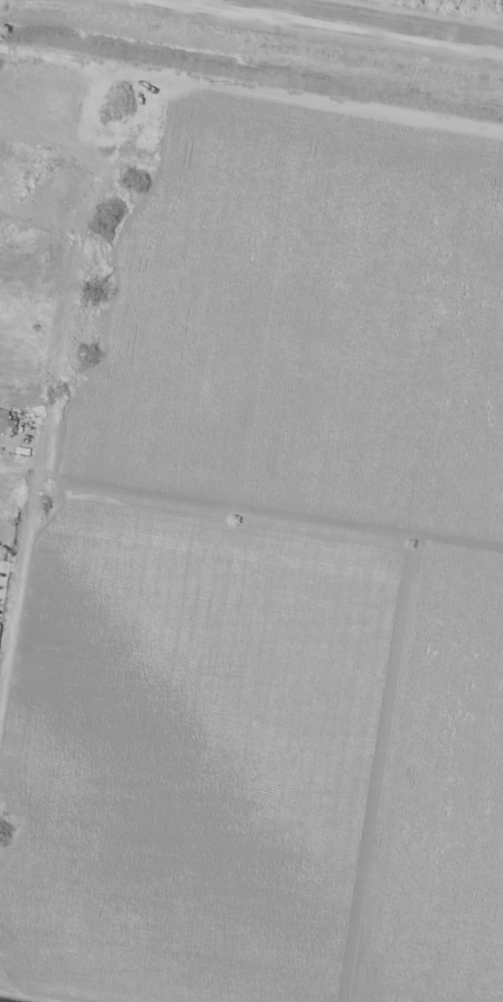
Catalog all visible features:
building: (42, 150)
building: (42, 183)
building: (1, 191)
building: (21, 301)
building: (6, 421)

